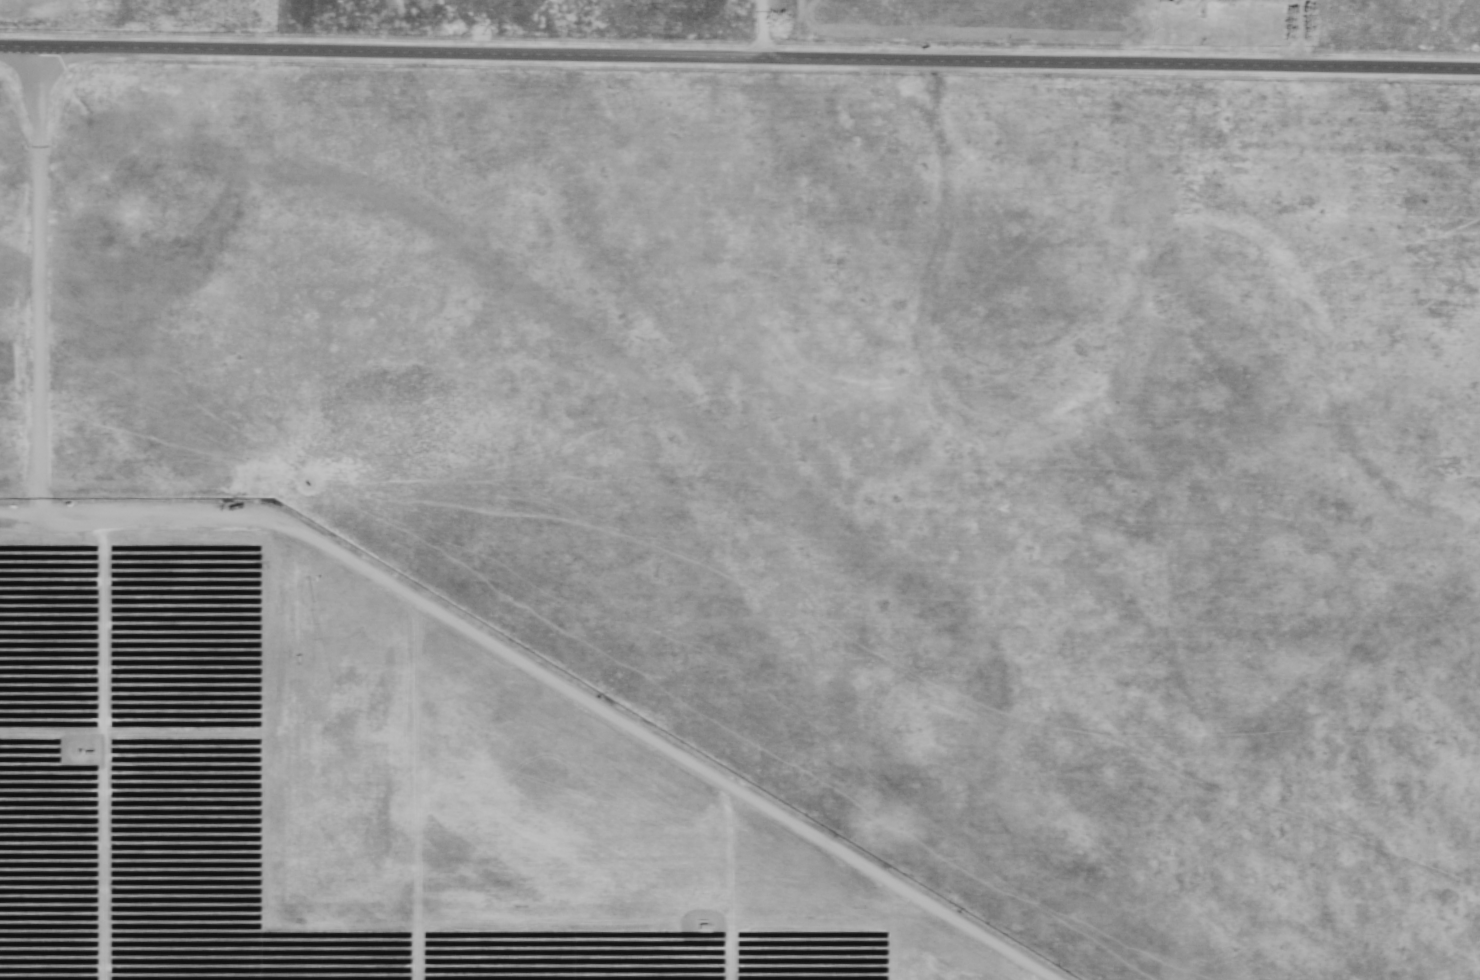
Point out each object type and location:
road: (764, 29)
road: (1305, 33)
road: (739, 58)
solar farm: (736, 528)

